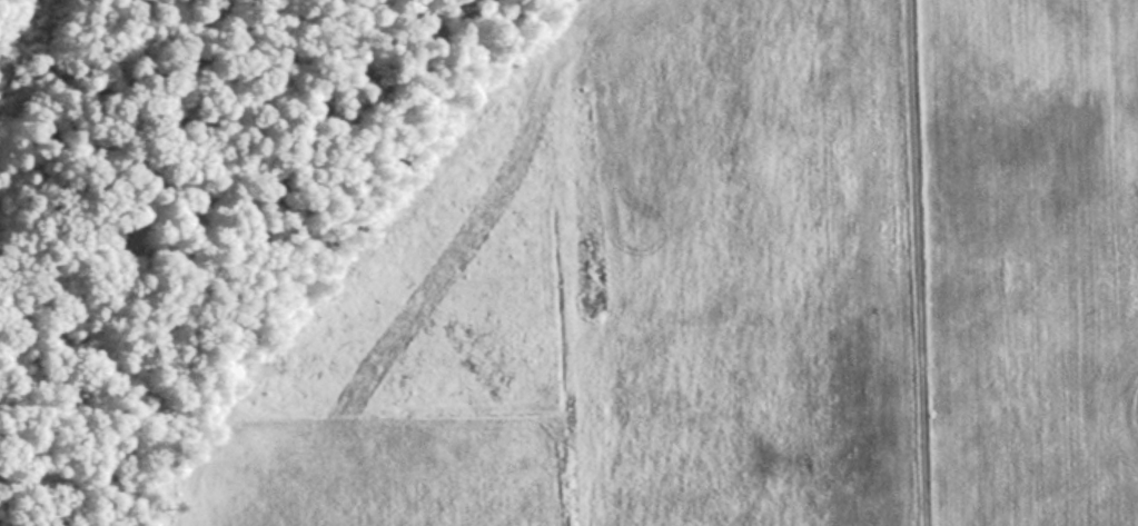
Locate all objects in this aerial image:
road: (918, 262)

